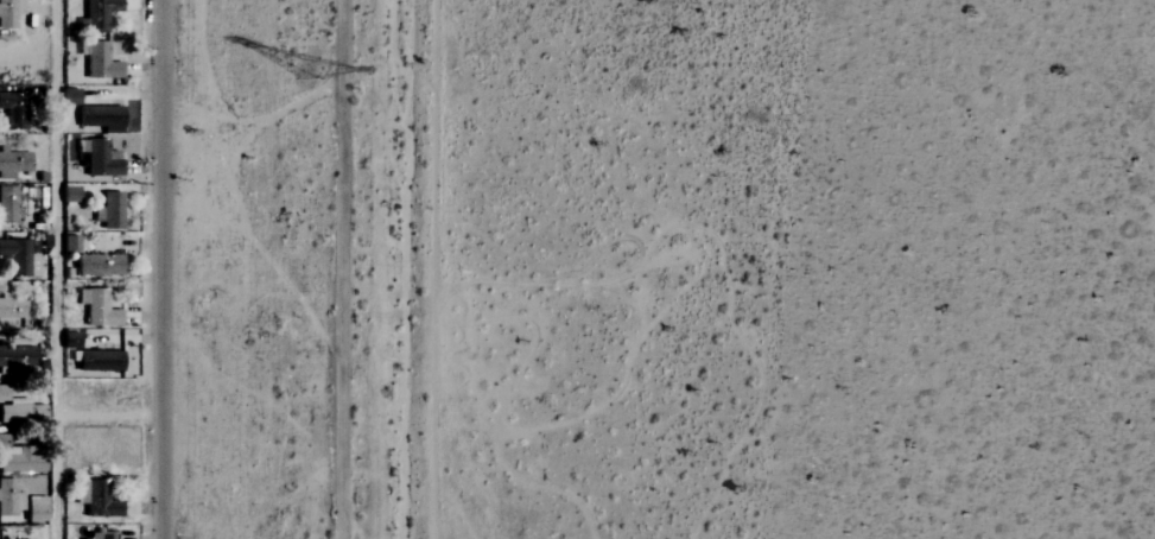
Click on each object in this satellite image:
building: (8, 13)
building: (95, 14)
building: (99, 62)
power tower: (302, 70)
building: (12, 110)
building: (100, 119)
building: (97, 158)
building: (12, 164)
building: (6, 204)
building: (107, 211)
building: (69, 243)
building: (17, 259)
building: (96, 265)
road: (56, 269)
road: (163, 269)
road: (339, 269)
building: (96, 307)
building: (11, 309)
building: (14, 359)
building: (97, 361)
building: (18, 410)
building: (1, 442)
building: (20, 462)
building: (9, 499)
building: (95, 500)
building: (36, 509)
building: (81, 532)
building: (96, 537)

